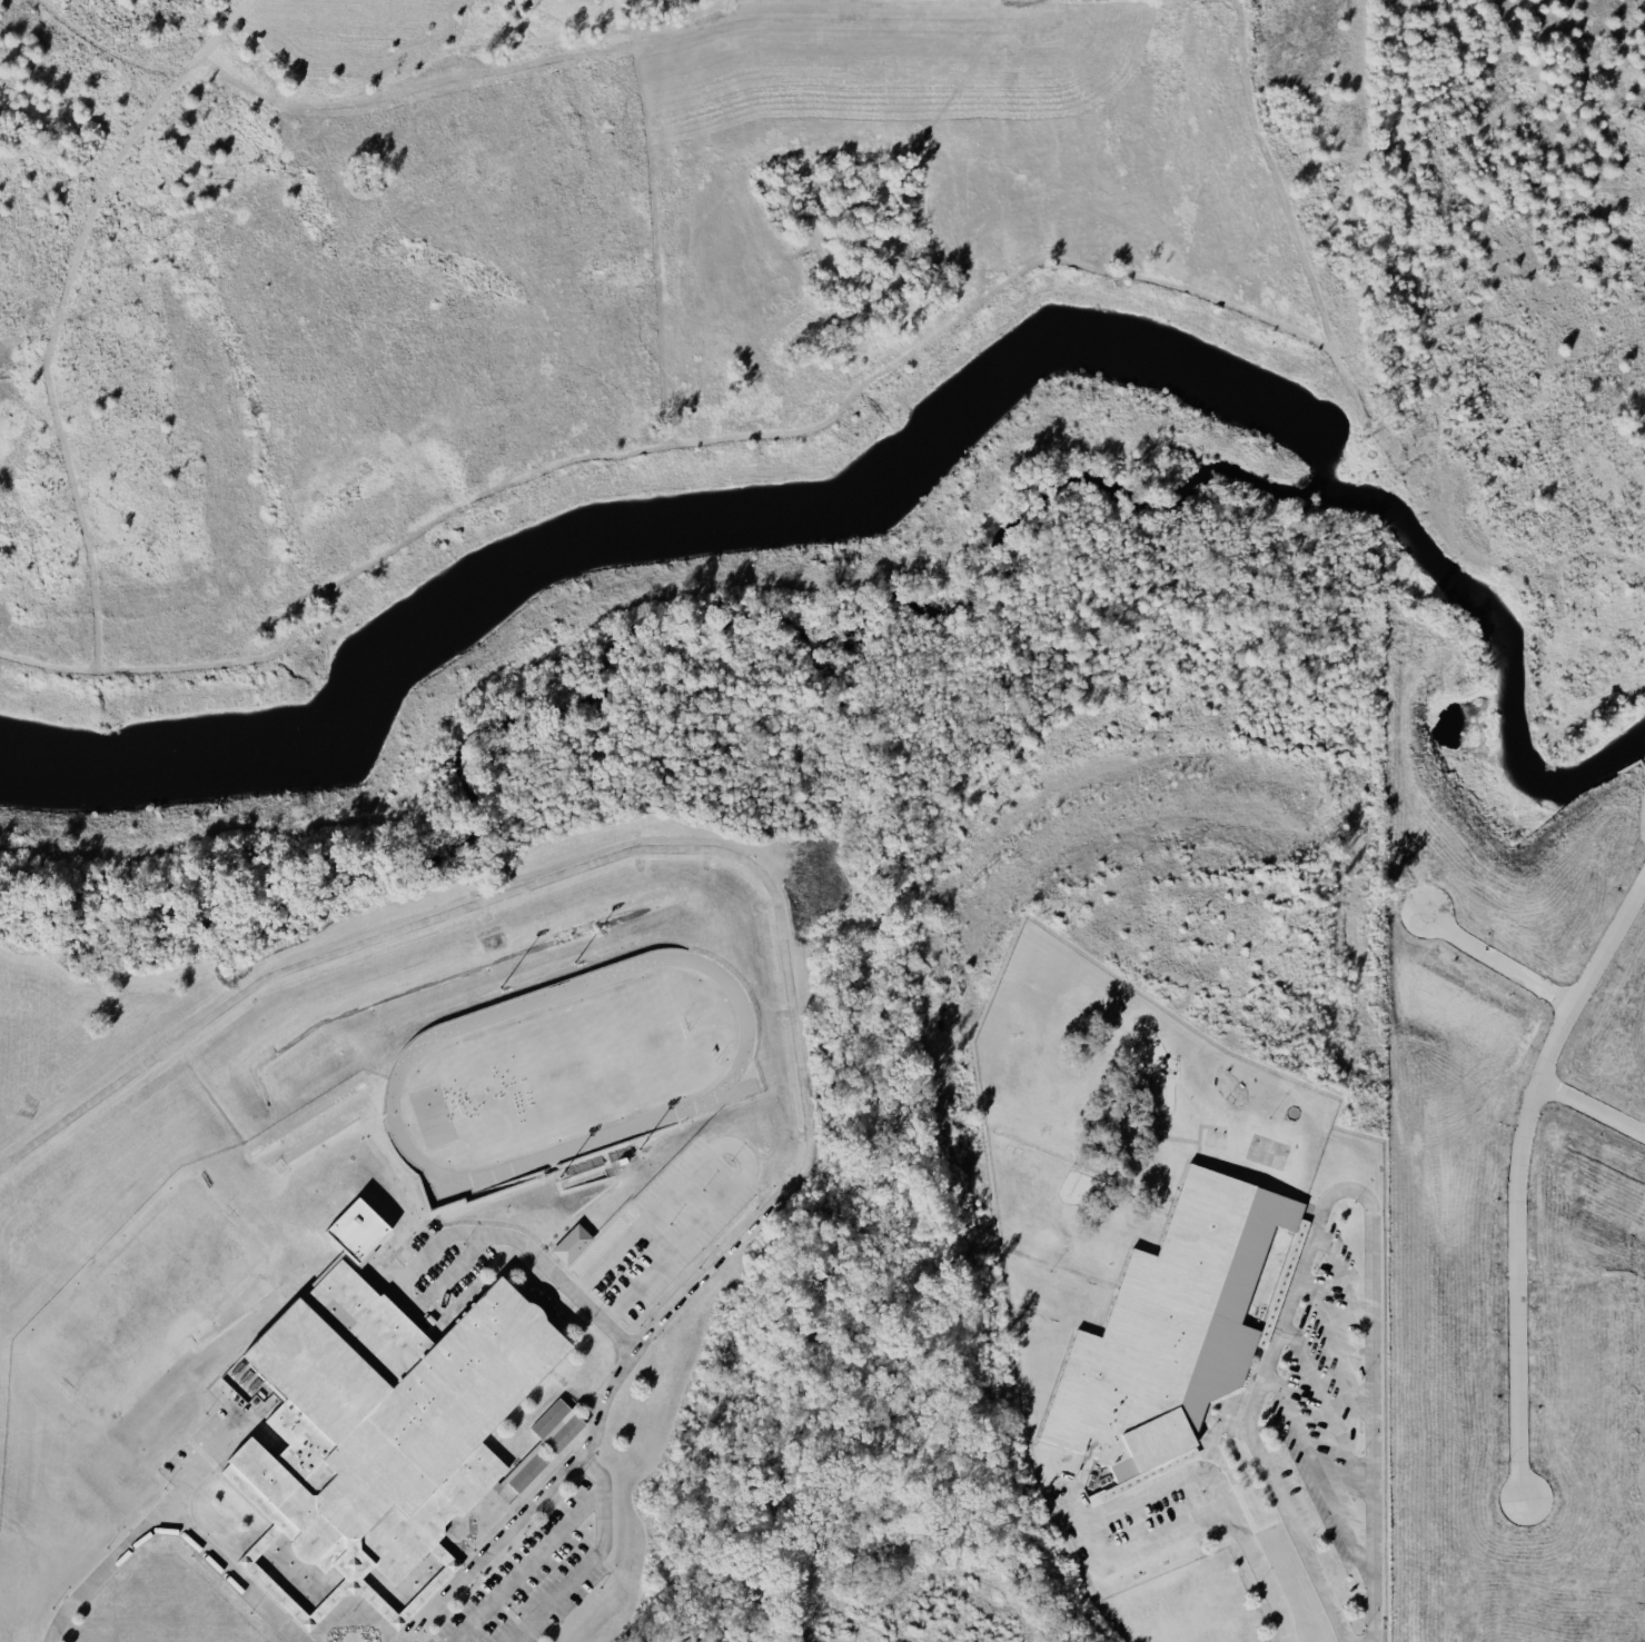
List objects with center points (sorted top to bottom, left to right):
road: (781, 908)
road: (737, 1152)
building: (349, 1230)
road: (464, 1231)
building: (567, 1242)
road: (1378, 1275)
building: (1166, 1331)
road: (1232, 1422)
building: (377, 1426)
building: (543, 1441)
road: (168, 1519)
road: (1091, 1543)
road: (601, 1560)
road: (535, 1569)

